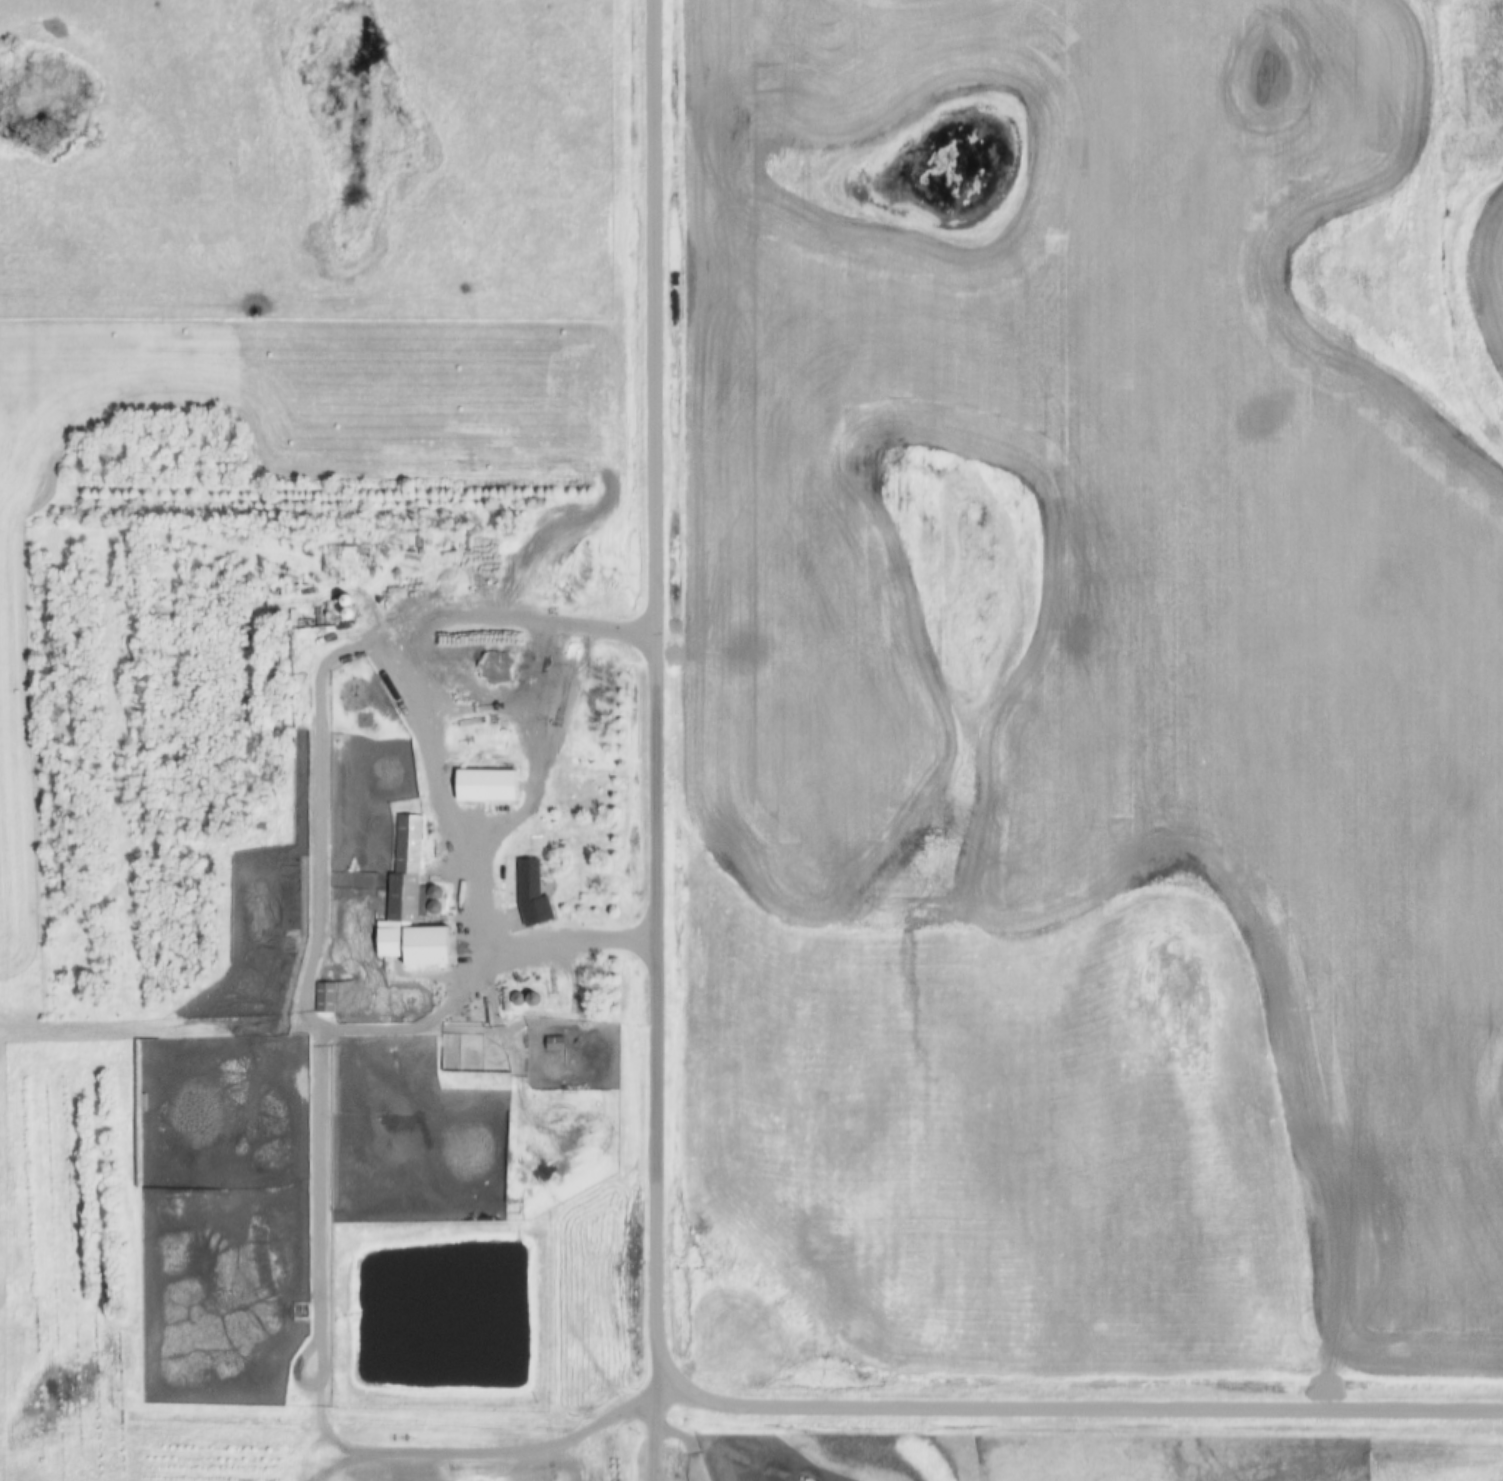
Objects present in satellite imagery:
road: (655, 691)
road: (427, 736)
building: (487, 785)
building: (531, 881)
building: (411, 907)
building: (324, 997)
building: (554, 1043)
road: (1087, 1406)
road: (650, 1422)

